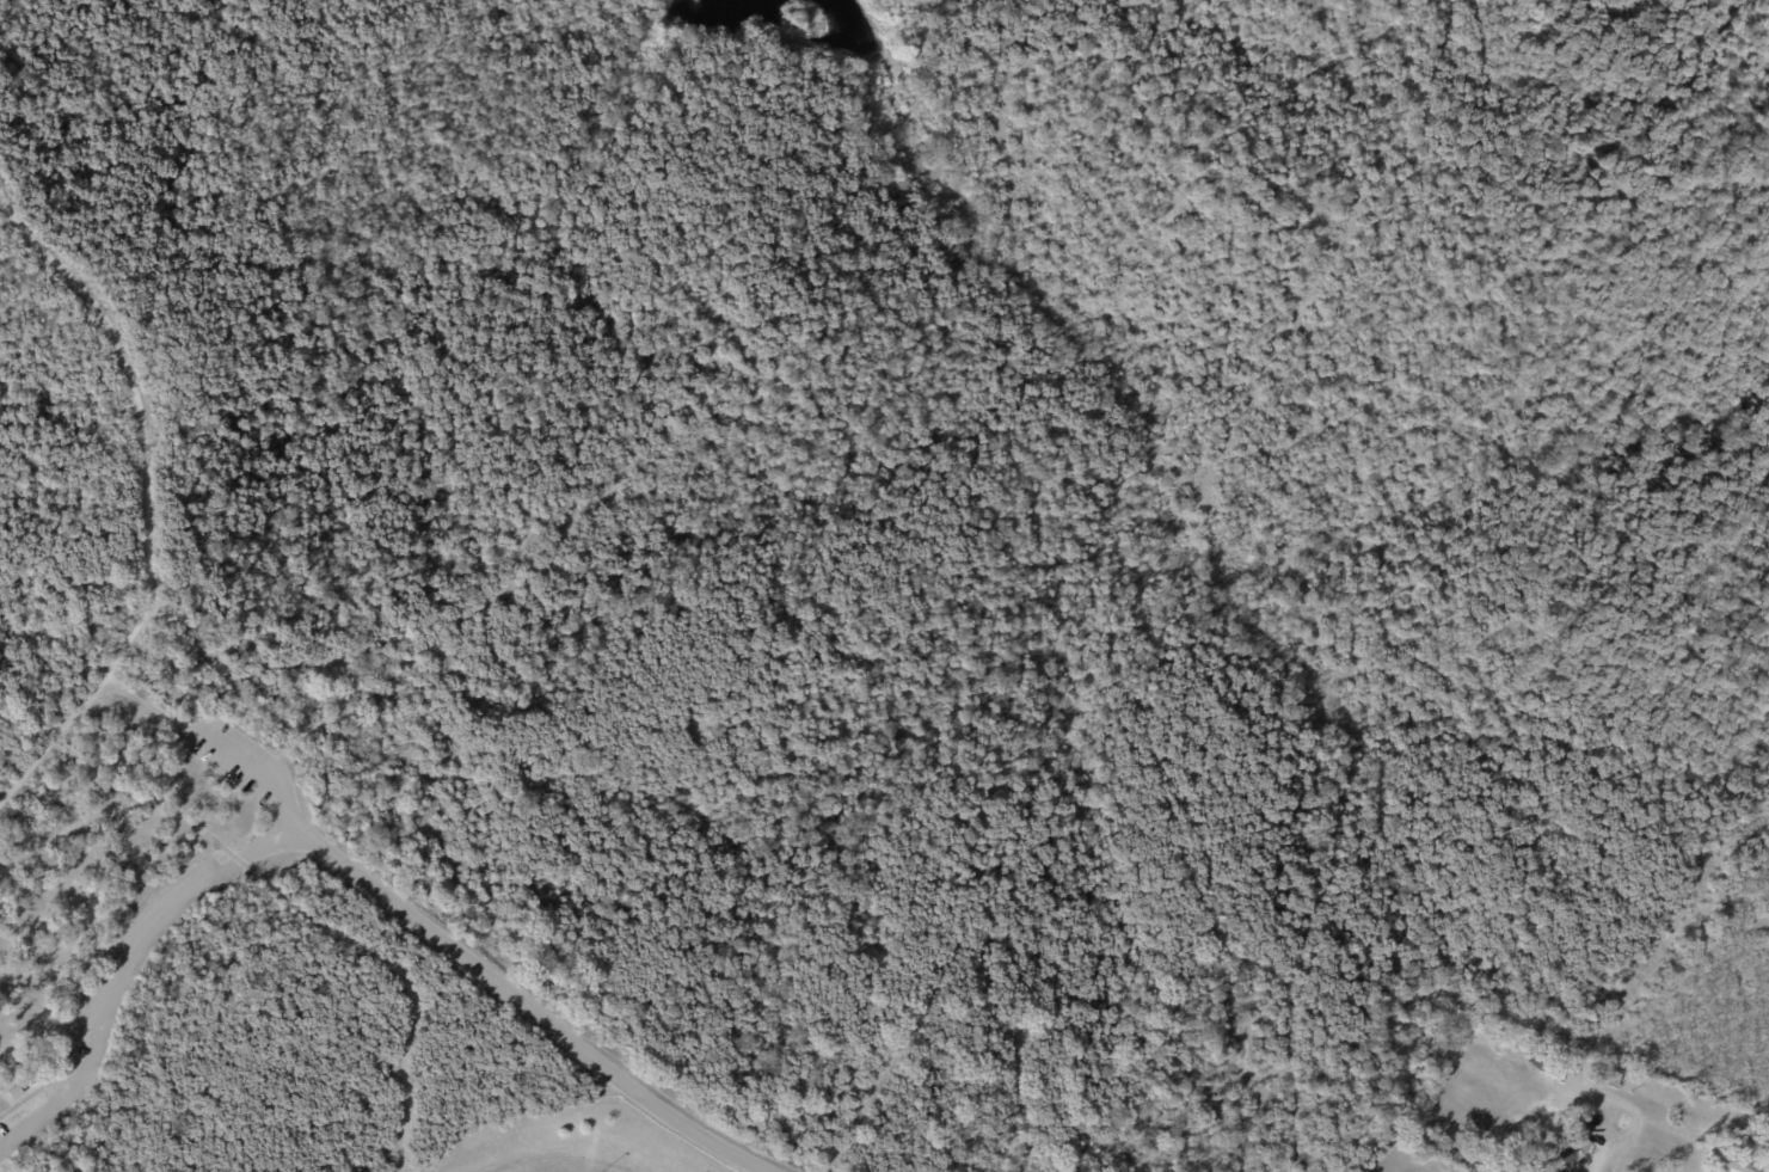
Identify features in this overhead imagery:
road: (1185, 192)
road: (1562, 221)
road: (317, 401)
road: (143, 467)
park: (804, 554)
road: (399, 663)
road: (51, 738)
parking lot: (233, 759)
road: (252, 773)
road: (115, 814)
road: (367, 950)
road: (82, 970)
road: (123, 970)
parking lot: (125, 981)
road: (526, 1012)
building: (1580, 1074)
building: (1618, 1084)
building: (19, 1094)
building: (1750, 1146)
parking lot: (5, 1149)
building: (1570, 1149)
building: (1714, 1156)
road: (1595, 1160)
building: (1738, 1165)
road: (2, 1170)

